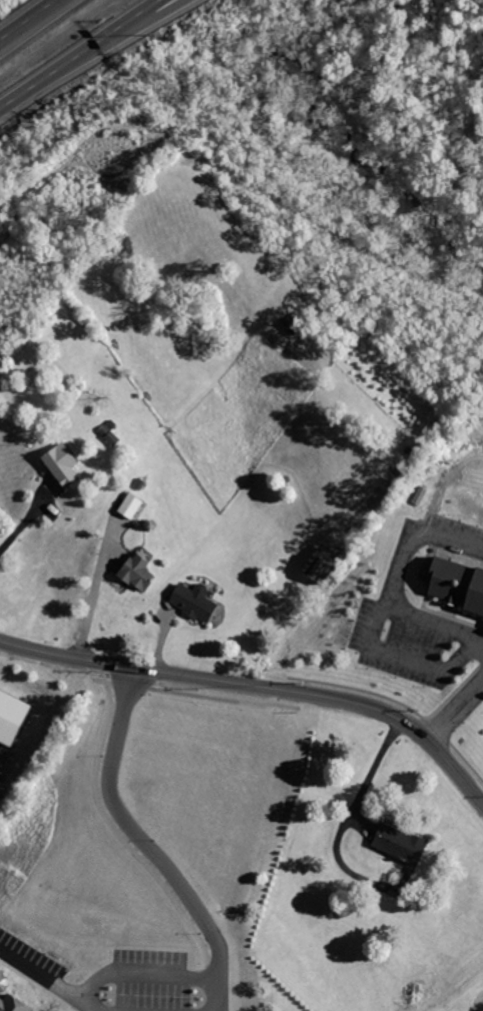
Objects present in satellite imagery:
road: (148, 10)
road: (153, 10)
road: (30, 21)
road: (67, 62)
building: (65, 464)
building: (131, 505)
road: (26, 521)
road: (410, 533)
building: (323, 562)
building: (139, 572)
building: (456, 583)
road: (95, 591)
building: (196, 600)
parking lot: (420, 611)
road: (436, 622)
building: (345, 632)
road: (406, 656)
road: (259, 685)
road: (476, 691)
building: (12, 715)
road: (450, 717)
road: (130, 830)
road: (342, 837)
building: (400, 841)
building: (210, 855)
road: (135, 970)
road: (216, 992)
building: (10, 997)

